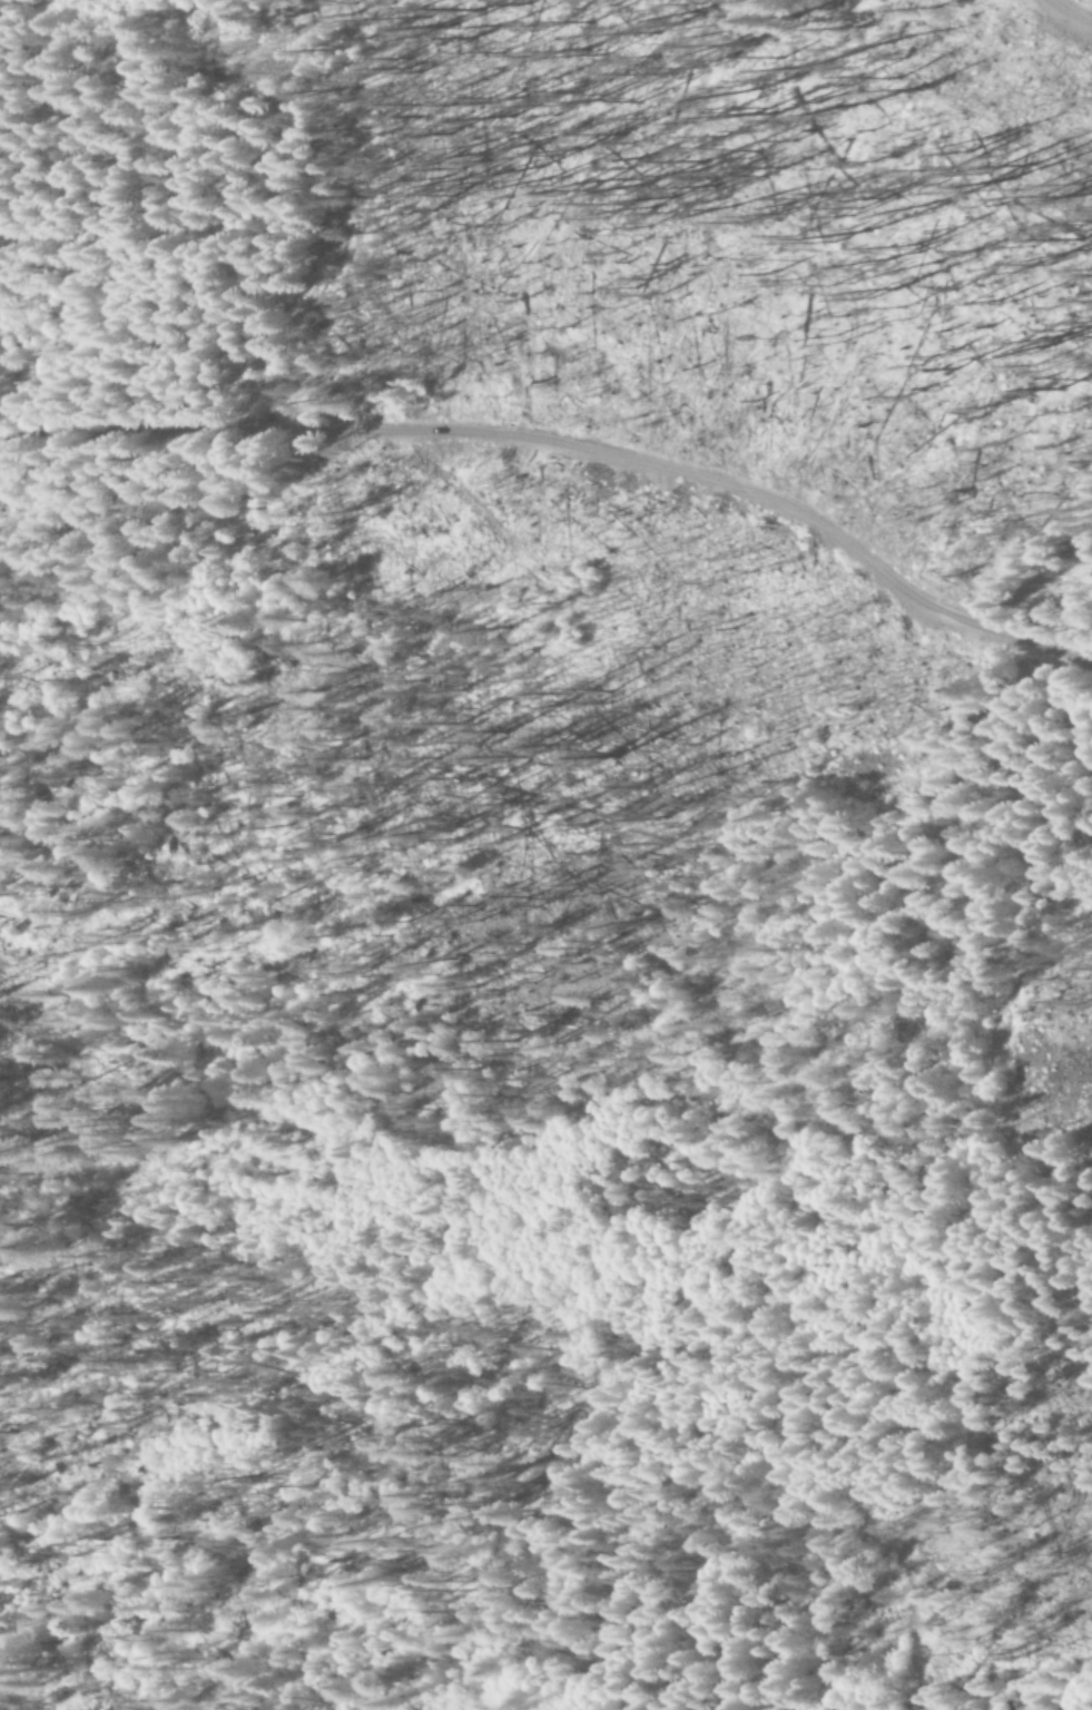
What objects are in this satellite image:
road: (1081, 6)
road: (571, 448)

